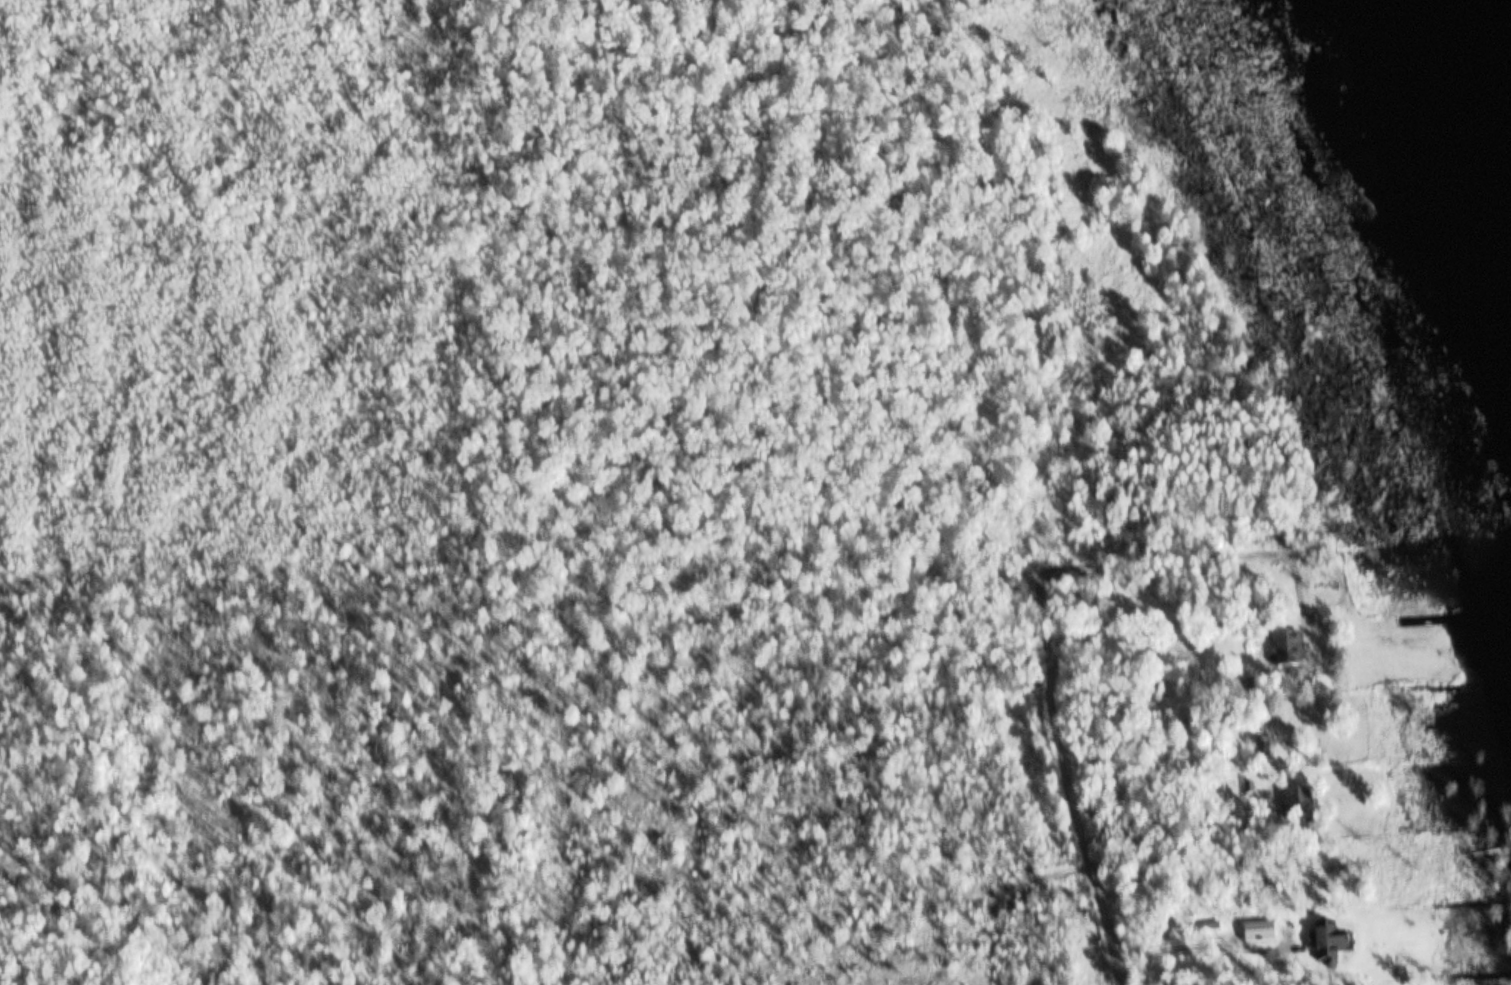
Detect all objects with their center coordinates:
building: (1291, 651)
road: (1050, 688)
building: (1300, 806)
building: (1261, 934)
building: (1330, 942)

